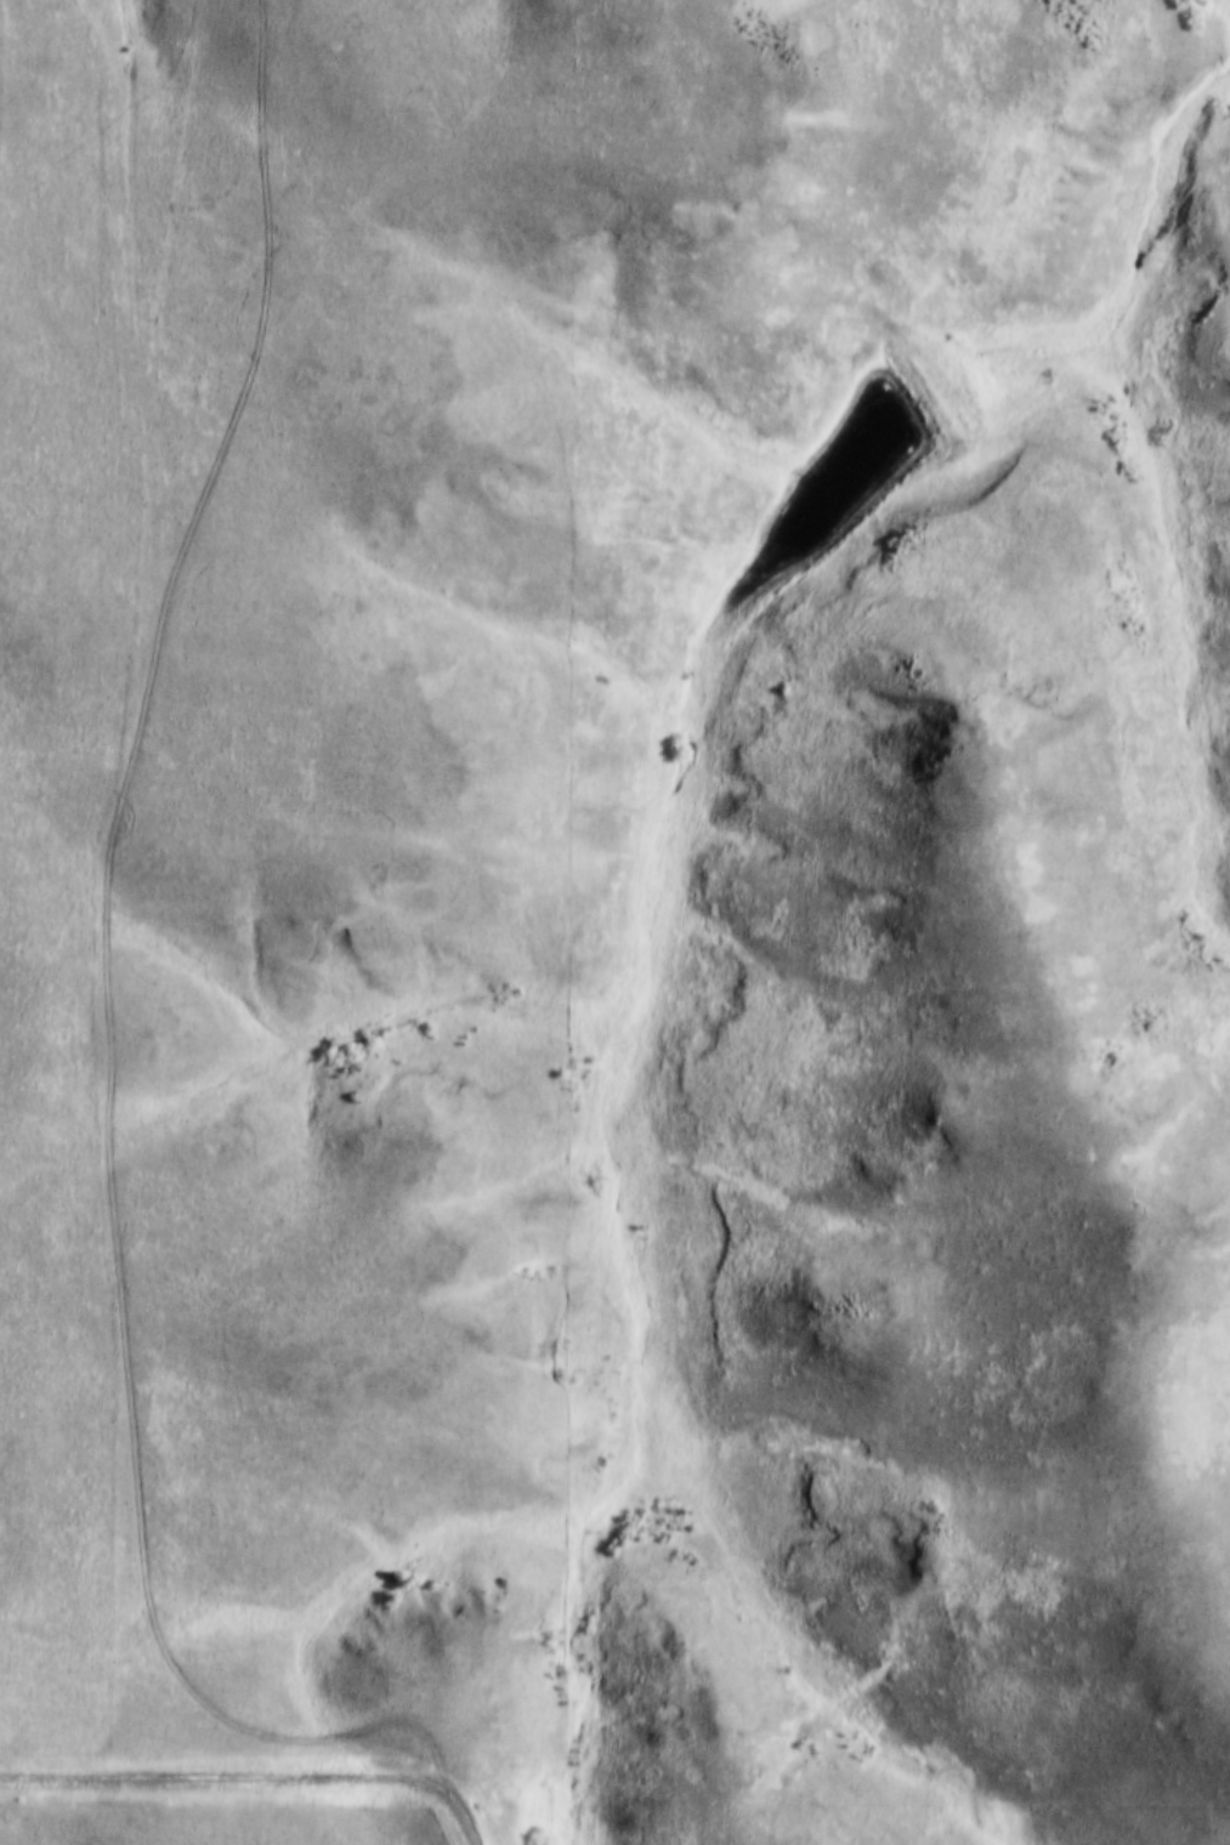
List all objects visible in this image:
road: (215, 1782)
road: (455, 1812)

